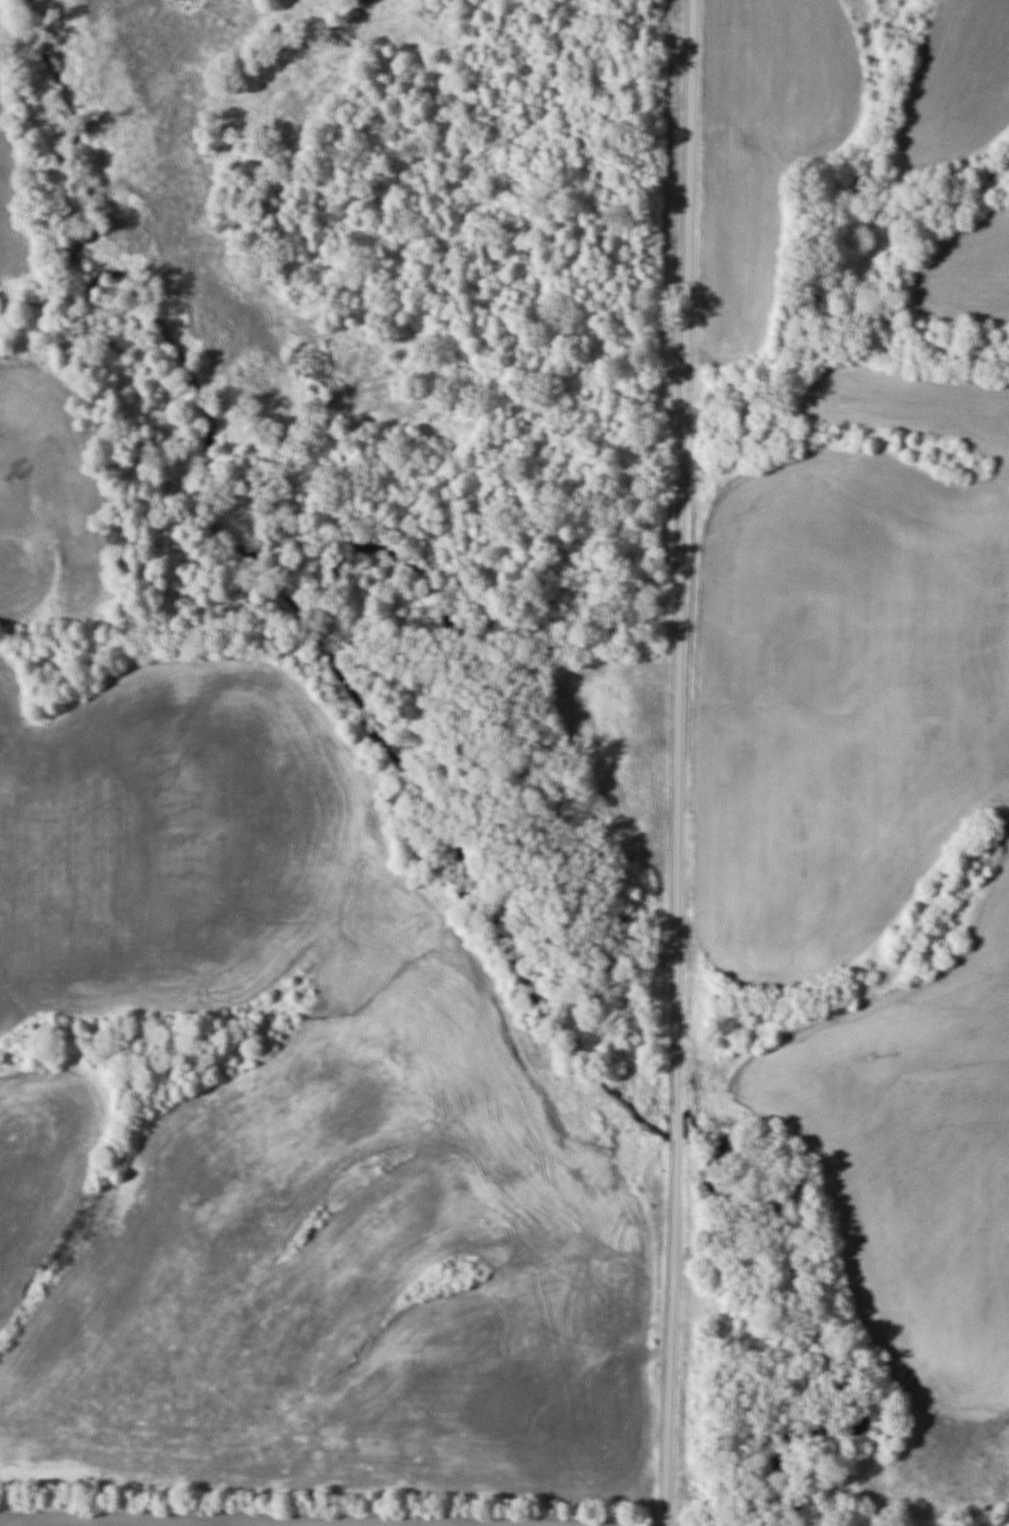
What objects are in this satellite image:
road: (678, 763)

